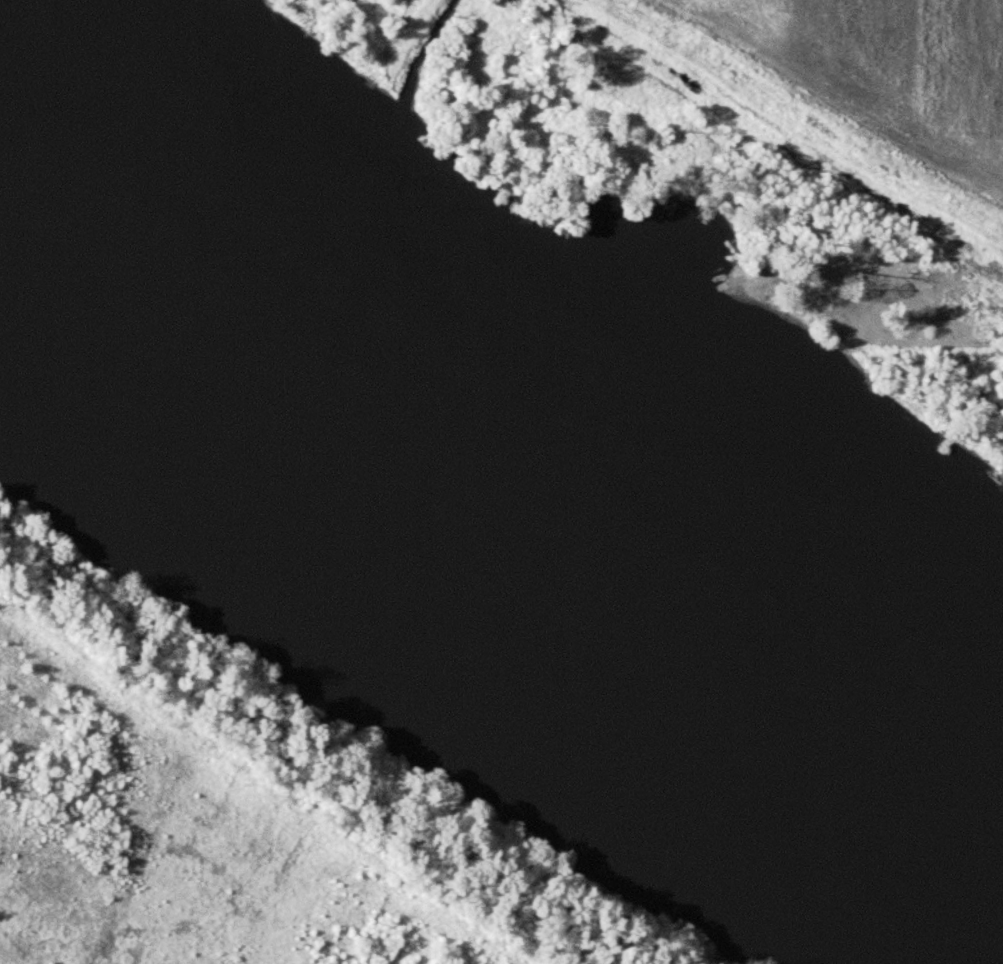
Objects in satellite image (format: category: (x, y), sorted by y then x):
river: (501, 484)

